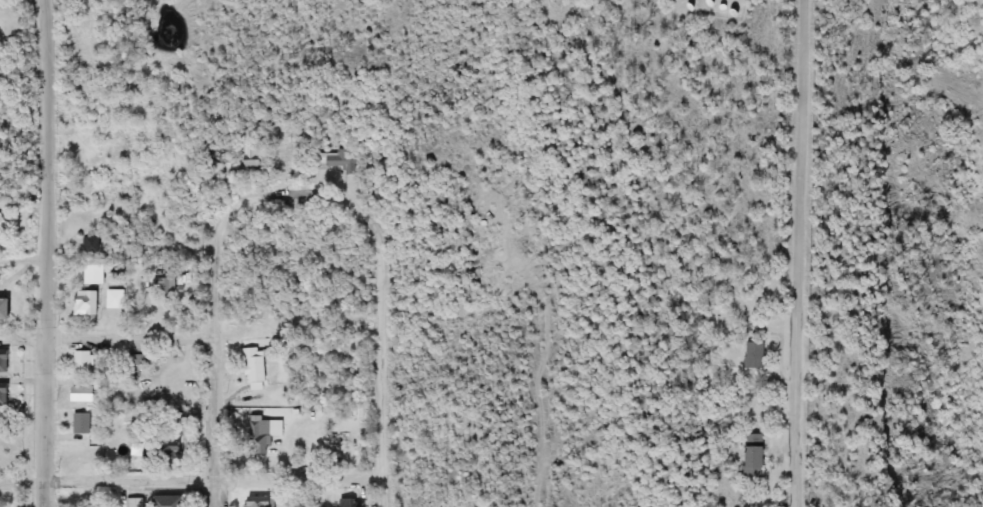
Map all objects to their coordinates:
building: (249, 154)
building: (335, 160)
road: (314, 192)
building: (85, 244)
road: (46, 253)
road: (800, 253)
building: (89, 273)
building: (162, 285)
building: (112, 299)
building: (81, 303)
building: (0, 309)
road: (108, 335)
building: (752, 356)
building: (1, 361)
building: (80, 361)
building: (133, 361)
road: (214, 363)
building: (251, 365)
road: (386, 381)
building: (1, 393)
building: (79, 394)
building: (153, 419)
building: (176, 420)
building: (78, 424)
building: (260, 435)
building: (162, 451)
building: (747, 456)
road: (192, 481)
building: (164, 502)
building: (259, 502)
building: (346, 502)
building: (132, 503)

